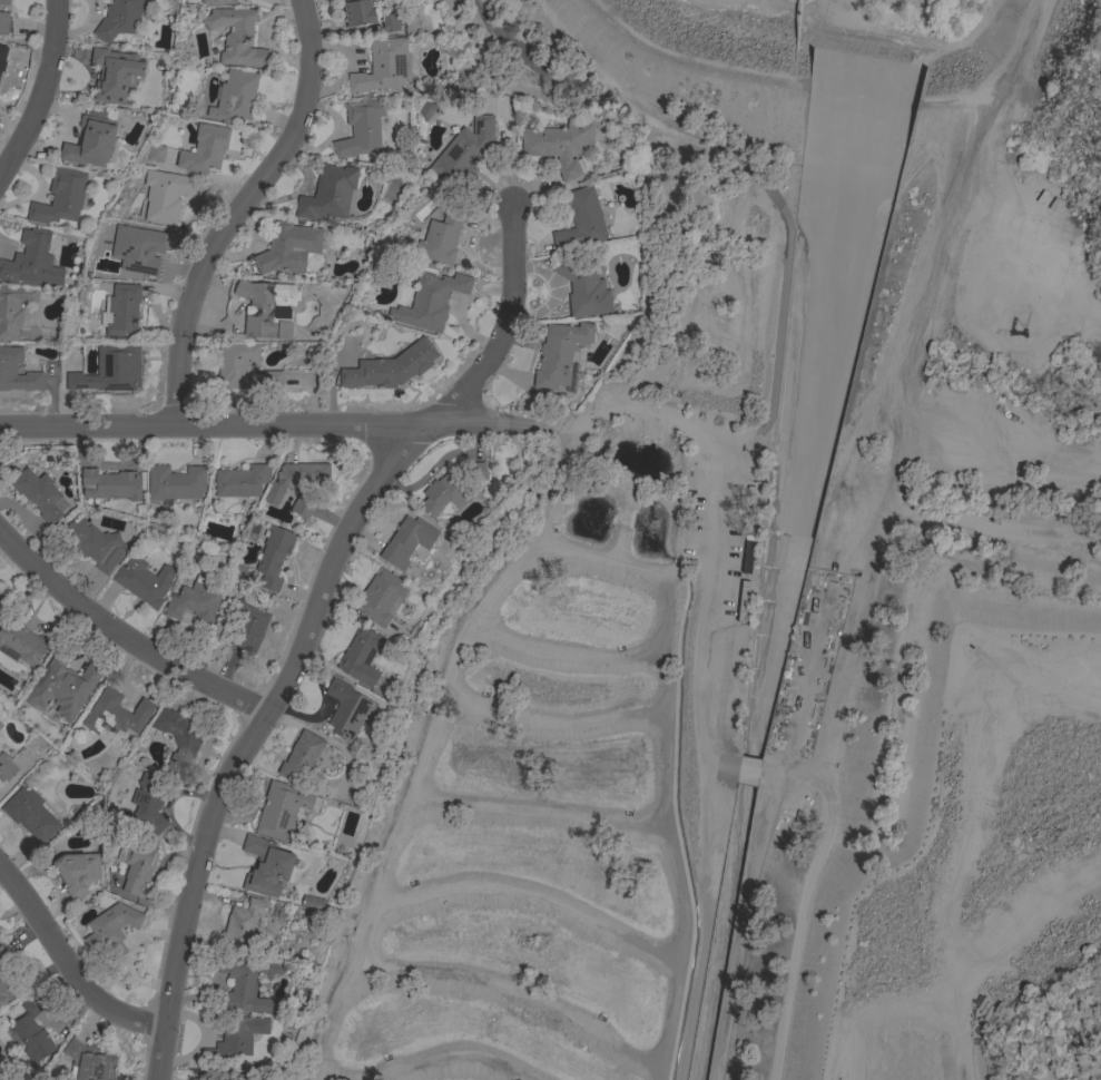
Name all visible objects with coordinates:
building: (3, 1)
building: (218, 2)
building: (368, 14)
building: (119, 21)
building: (3, 22)
building: (237, 37)
building: (3, 51)
building: (382, 66)
dam: (797, 71)
building: (115, 73)
road: (39, 89)
building: (237, 94)
building: (361, 128)
building: (91, 140)
building: (559, 145)
building: (199, 150)
building: (464, 150)
building: (153, 155)
road: (728, 157)
building: (328, 193)
building: (165, 195)
building: (60, 196)
road: (238, 209)
building: (580, 220)
building: (441, 236)
building: (288, 247)
building: (138, 248)
building: (33, 259)
building: (581, 286)
building: (430, 301)
building: (16, 307)
building: (265, 307)
building: (122, 311)
road: (503, 327)
building: (559, 353)
building: (8, 366)
building: (390, 367)
building: (244, 369)
building: (110, 370)
road: (901, 395)
road: (633, 408)
road: (249, 425)
building: (295, 478)
building: (240, 481)
building: (175, 482)
building: (108, 483)
building: (452, 485)
building: (40, 494)
building: (303, 505)
building: (407, 541)
building: (96, 544)
building: (274, 557)
building: (741, 559)
building: (144, 580)
building: (381, 597)
building: (195, 599)
building: (2, 600)
building: (246, 626)
road: (122, 635)
building: (24, 642)
building: (362, 656)
building: (70, 685)
building: (346, 708)
building: (115, 715)
building: (0, 725)
road: (247, 738)
building: (177, 739)
building: (301, 756)
road: (727, 756)
building: (6, 767)
road: (744, 767)
building: (148, 799)
building: (281, 808)
building: (30, 814)
building: (266, 865)
building: (136, 866)
building: (78, 872)
road: (810, 899)
building: (314, 902)
building: (243, 924)
road: (740, 924)
building: (111, 929)
road: (66, 964)
building: (8, 979)
building: (246, 981)
building: (32, 1032)
building: (236, 1037)
building: (89, 1062)
building: (238, 1077)

